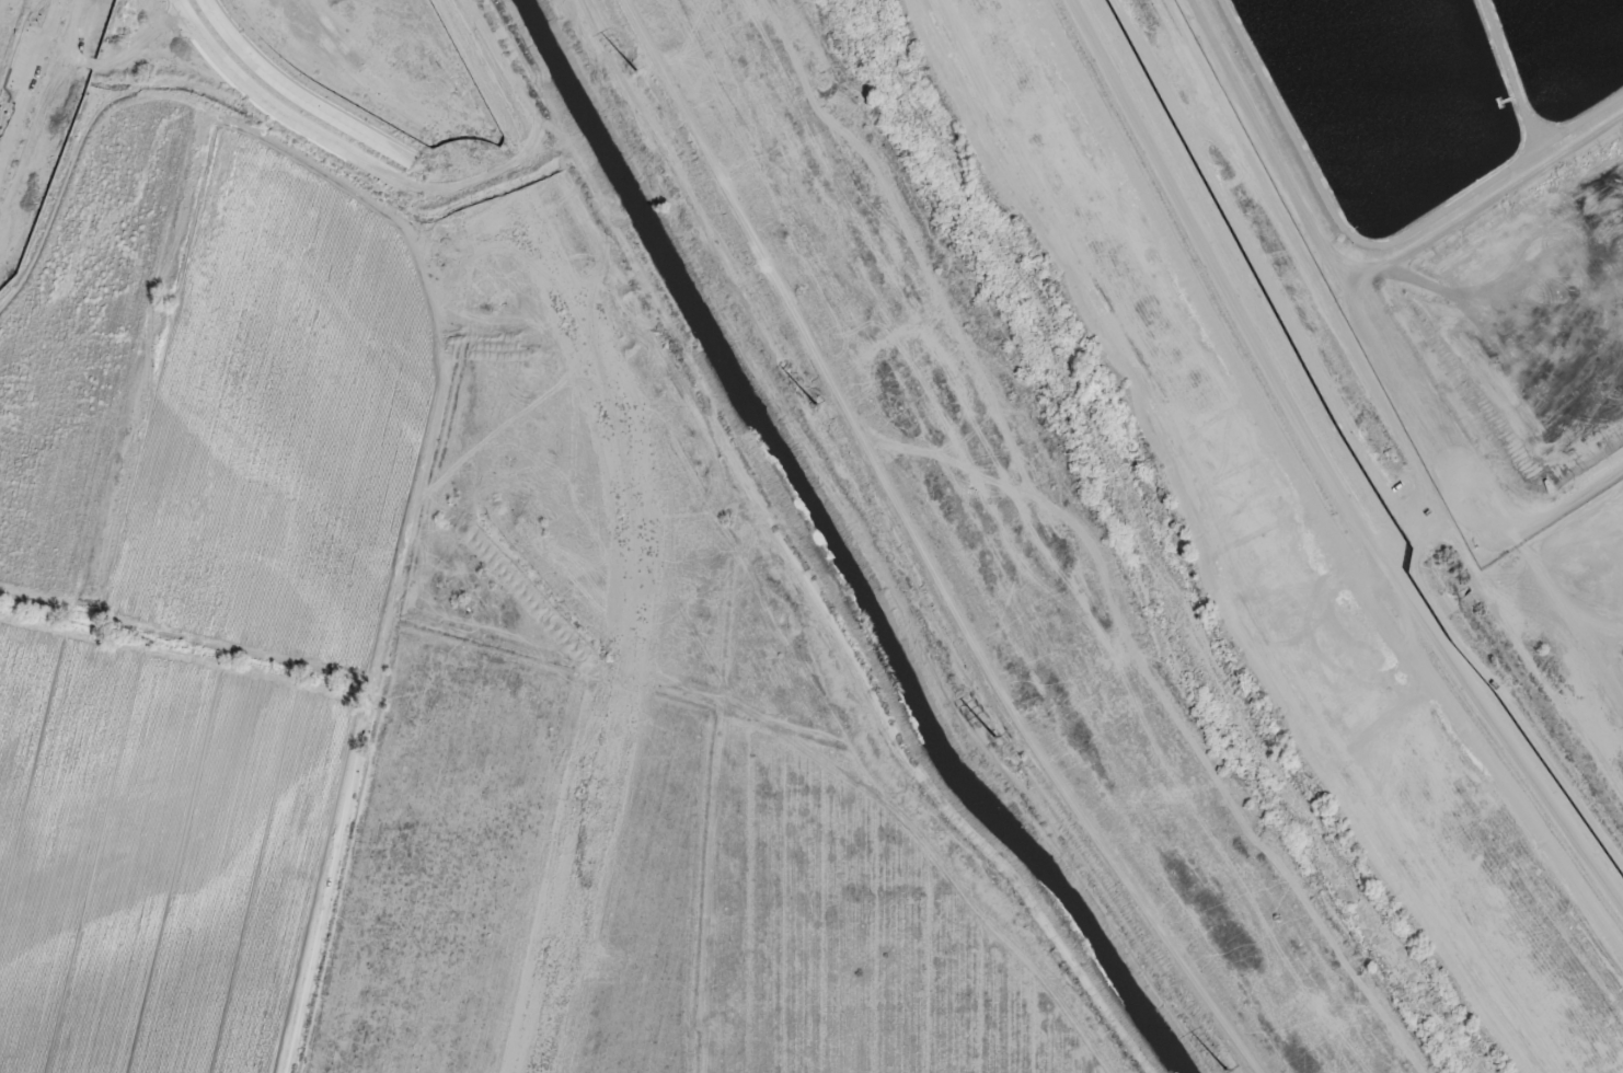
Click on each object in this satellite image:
power tower: (634, 65)
road: (30, 80)
road: (273, 99)
power tower: (814, 402)
road: (922, 547)
river: (1152, 550)
road: (774, 563)
power tower: (994, 736)
power tower: (1222, 1066)

